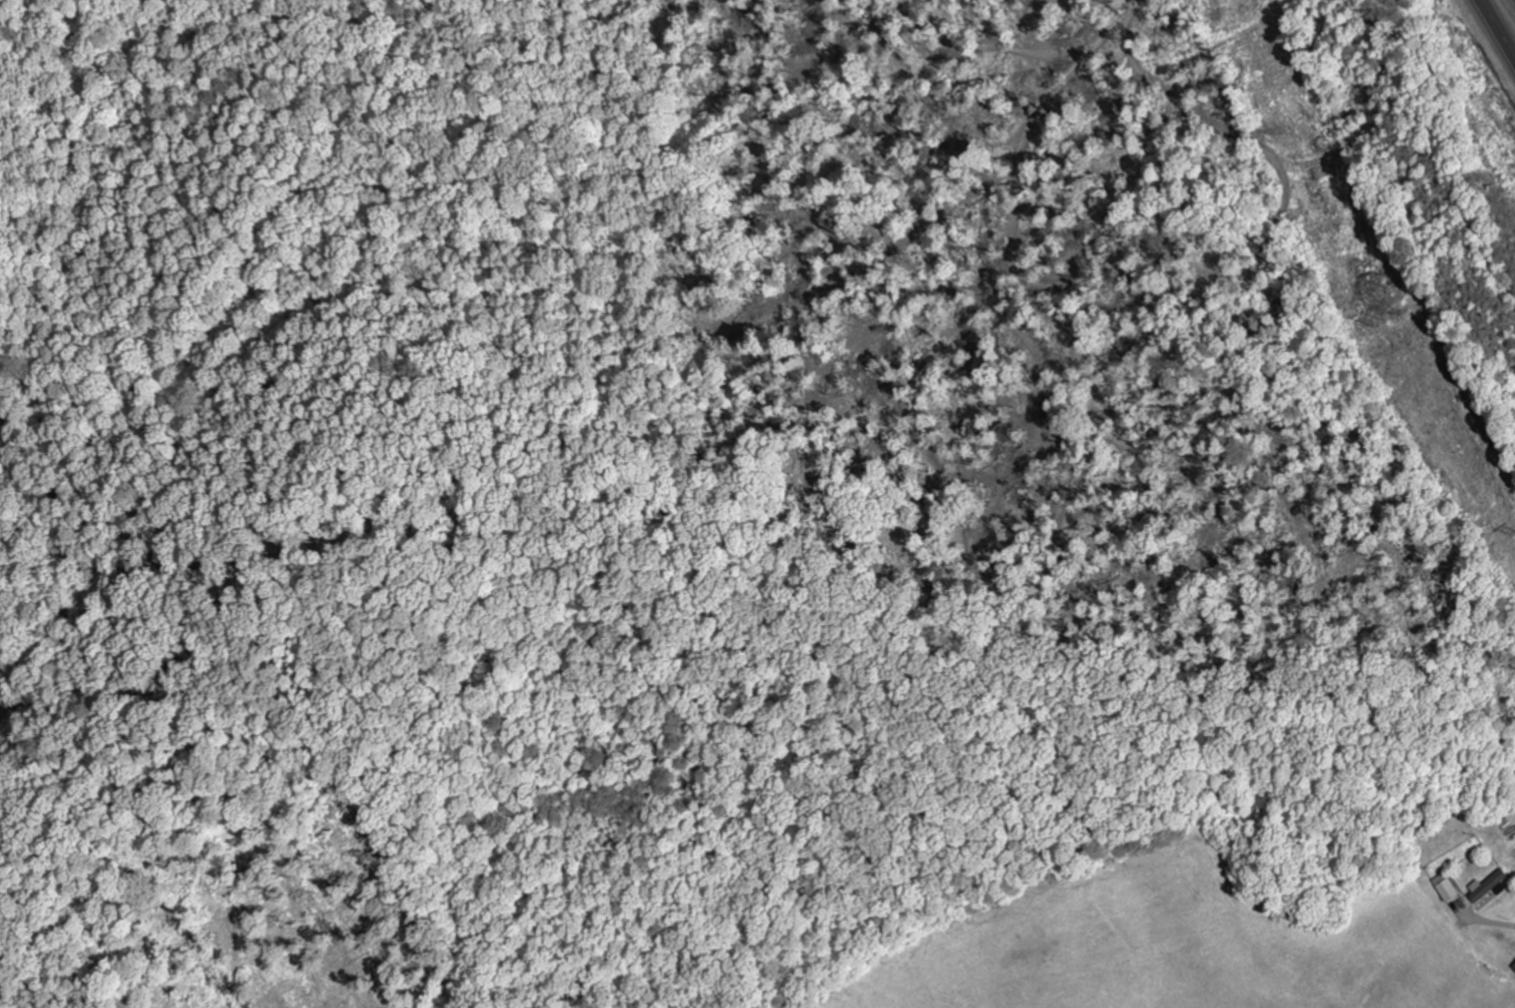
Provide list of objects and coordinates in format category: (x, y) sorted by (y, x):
road: (1497, 31)
building: (1488, 889)
building: (1447, 891)
building: (1513, 968)

